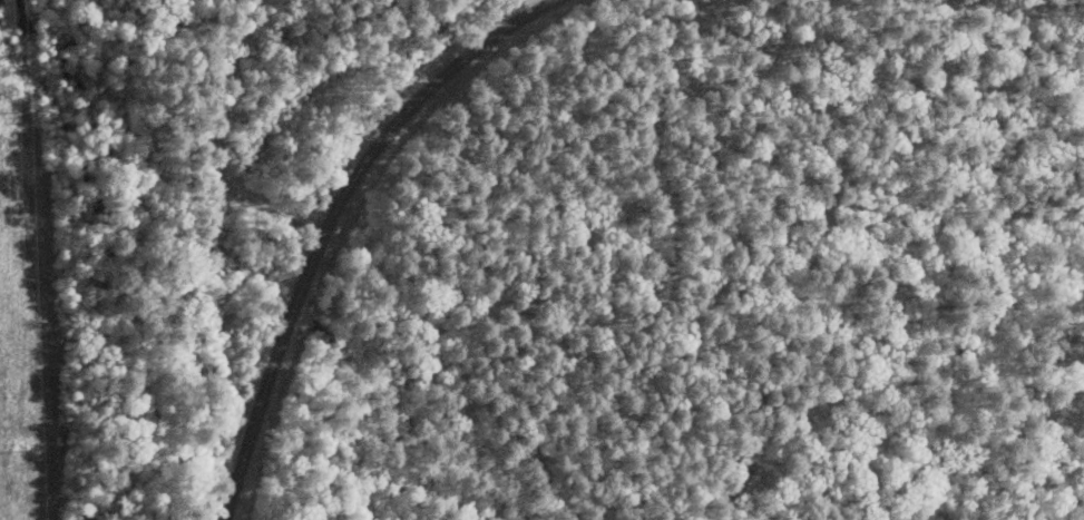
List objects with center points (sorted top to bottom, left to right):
power tower: (21, 111)
road: (204, 136)
road: (238, 186)
power tower: (29, 450)

